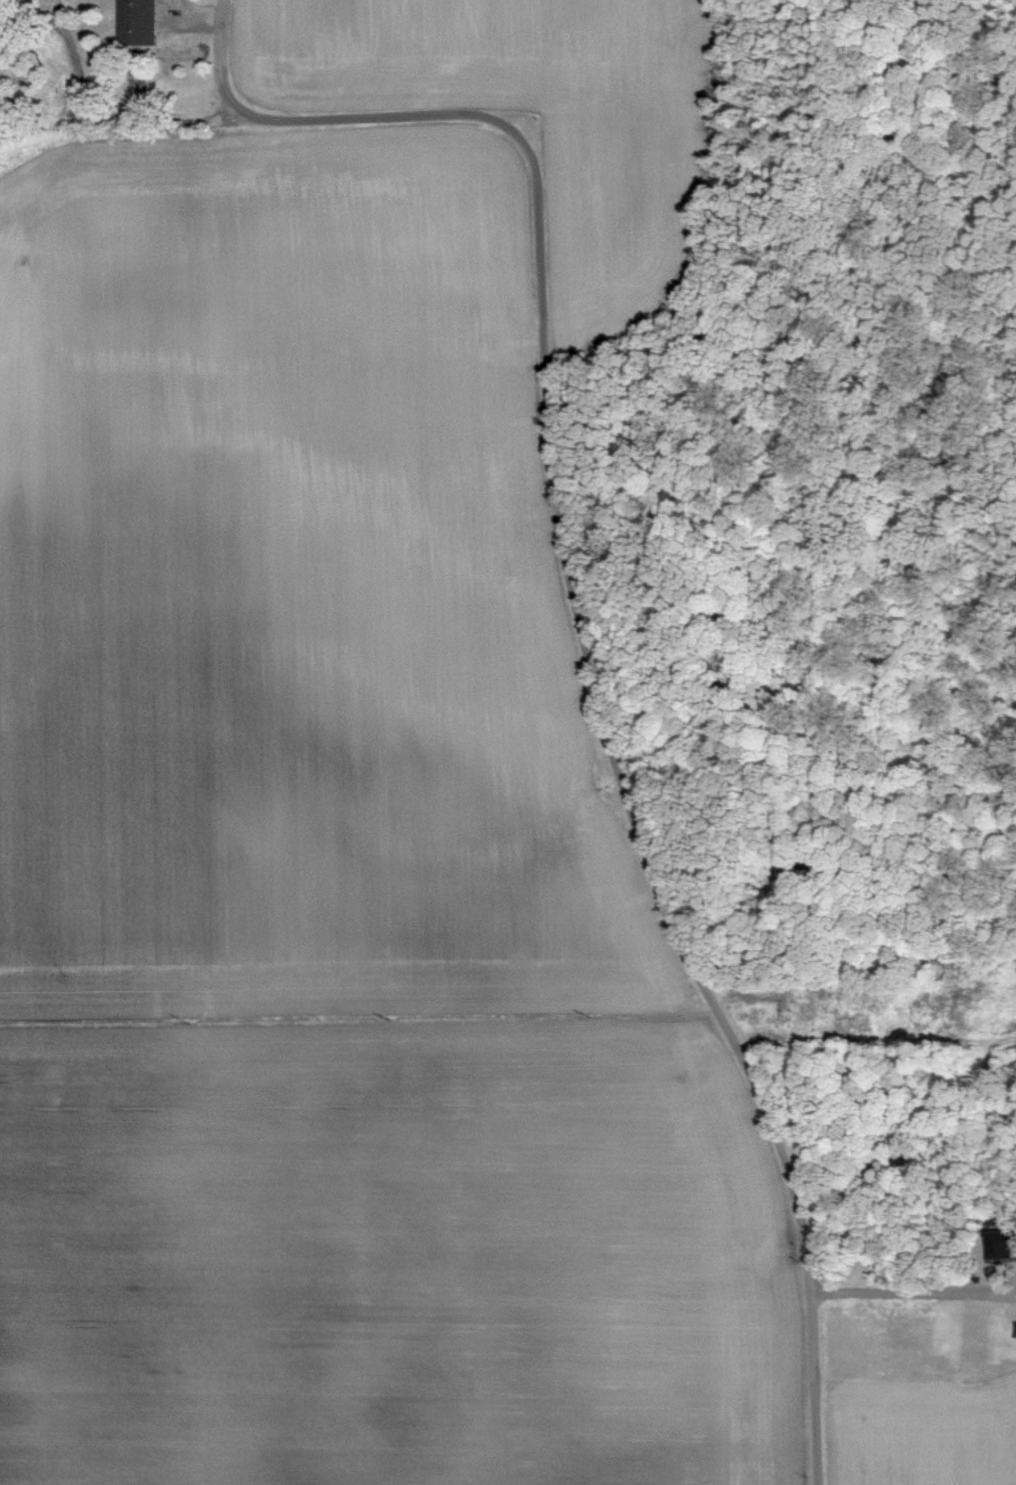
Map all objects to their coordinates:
building: (138, 22)
road: (557, 638)
building: (1001, 1244)

